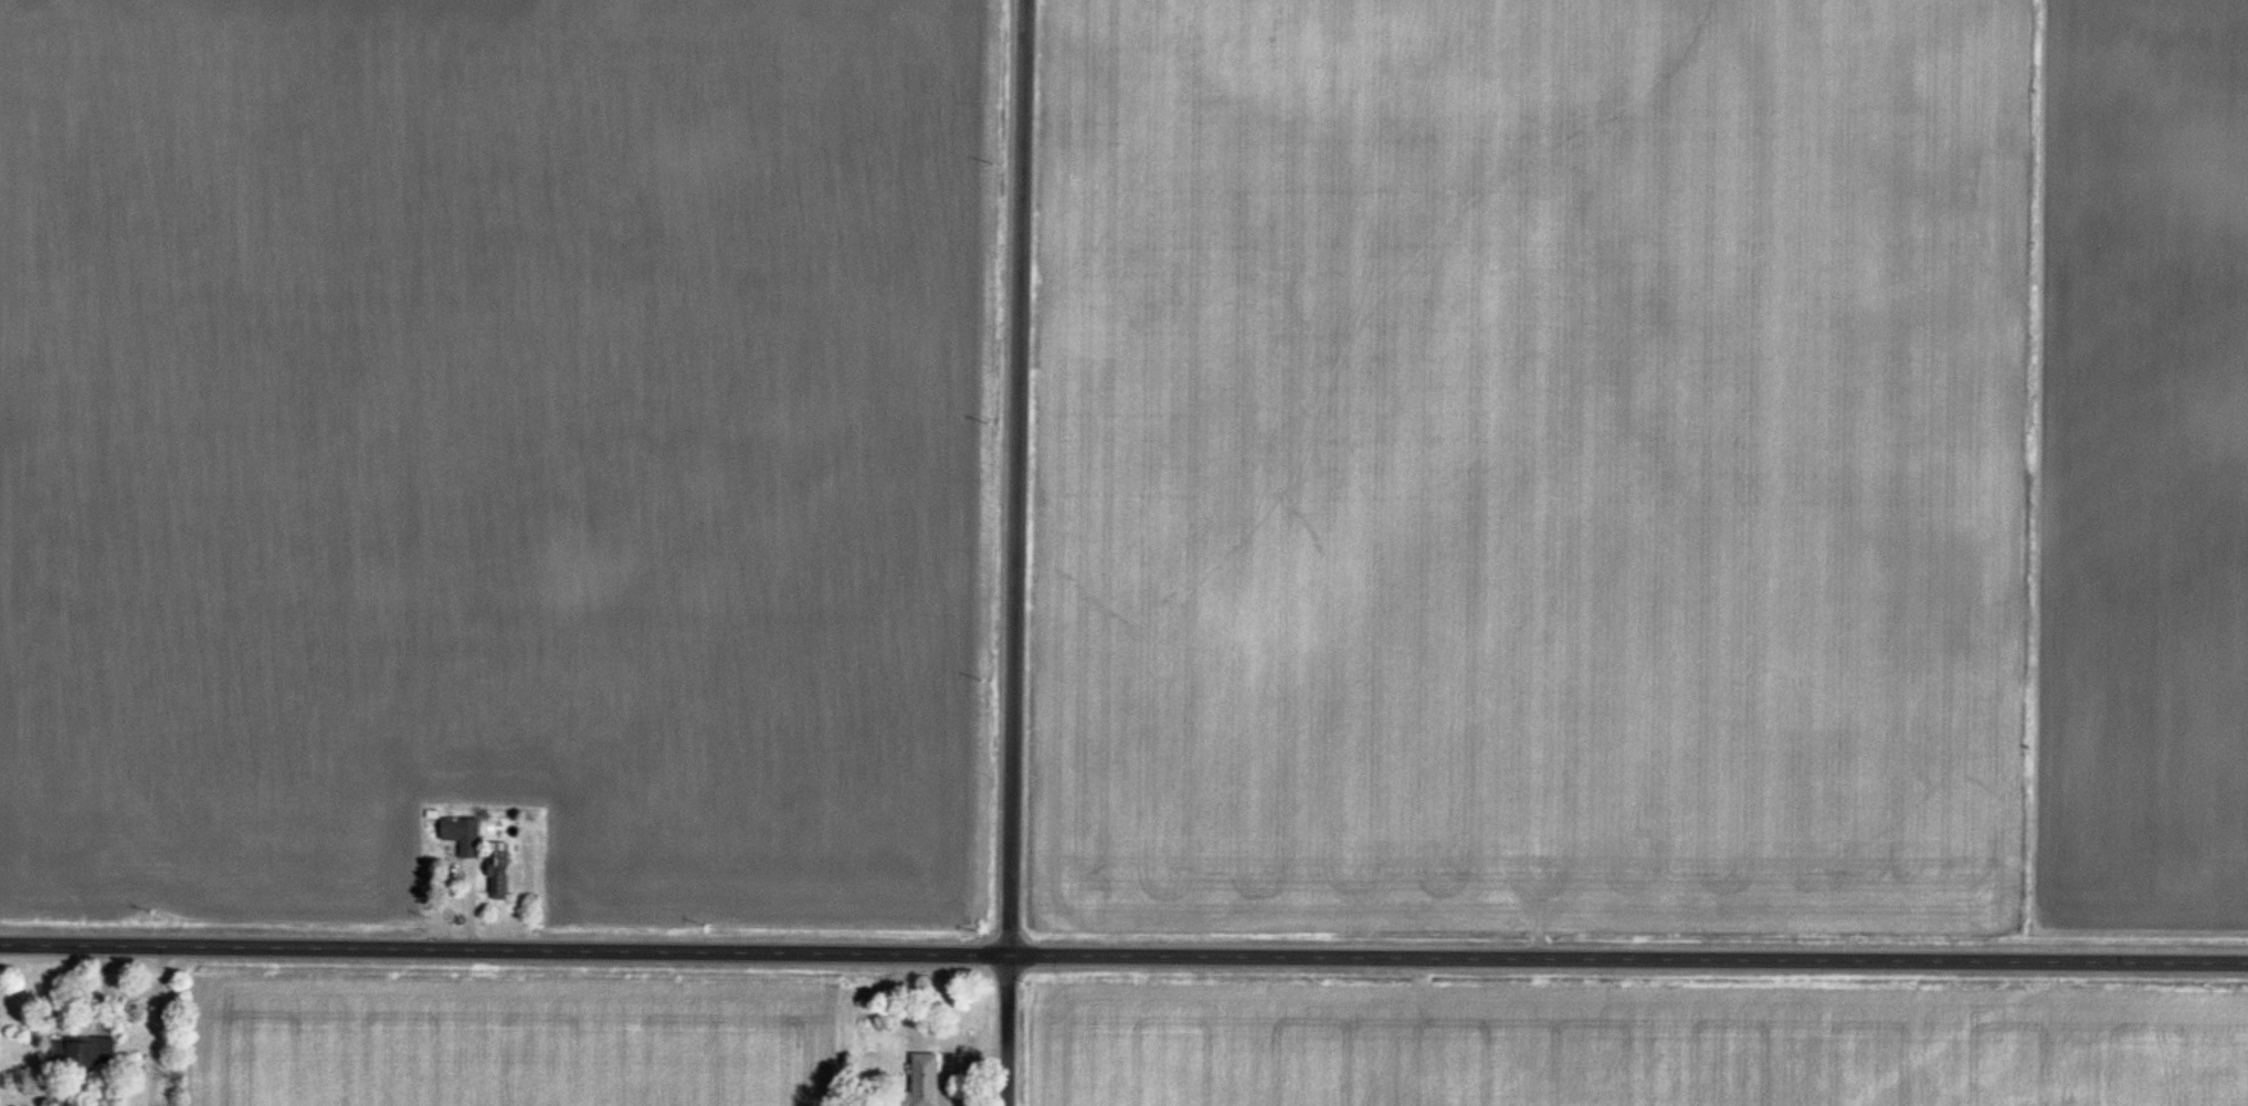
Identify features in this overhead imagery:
road: (1011, 552)
building: (463, 835)
building: (500, 876)
road: (1123, 950)
road: (156, 1023)
building: (83, 1053)
building: (926, 1079)

